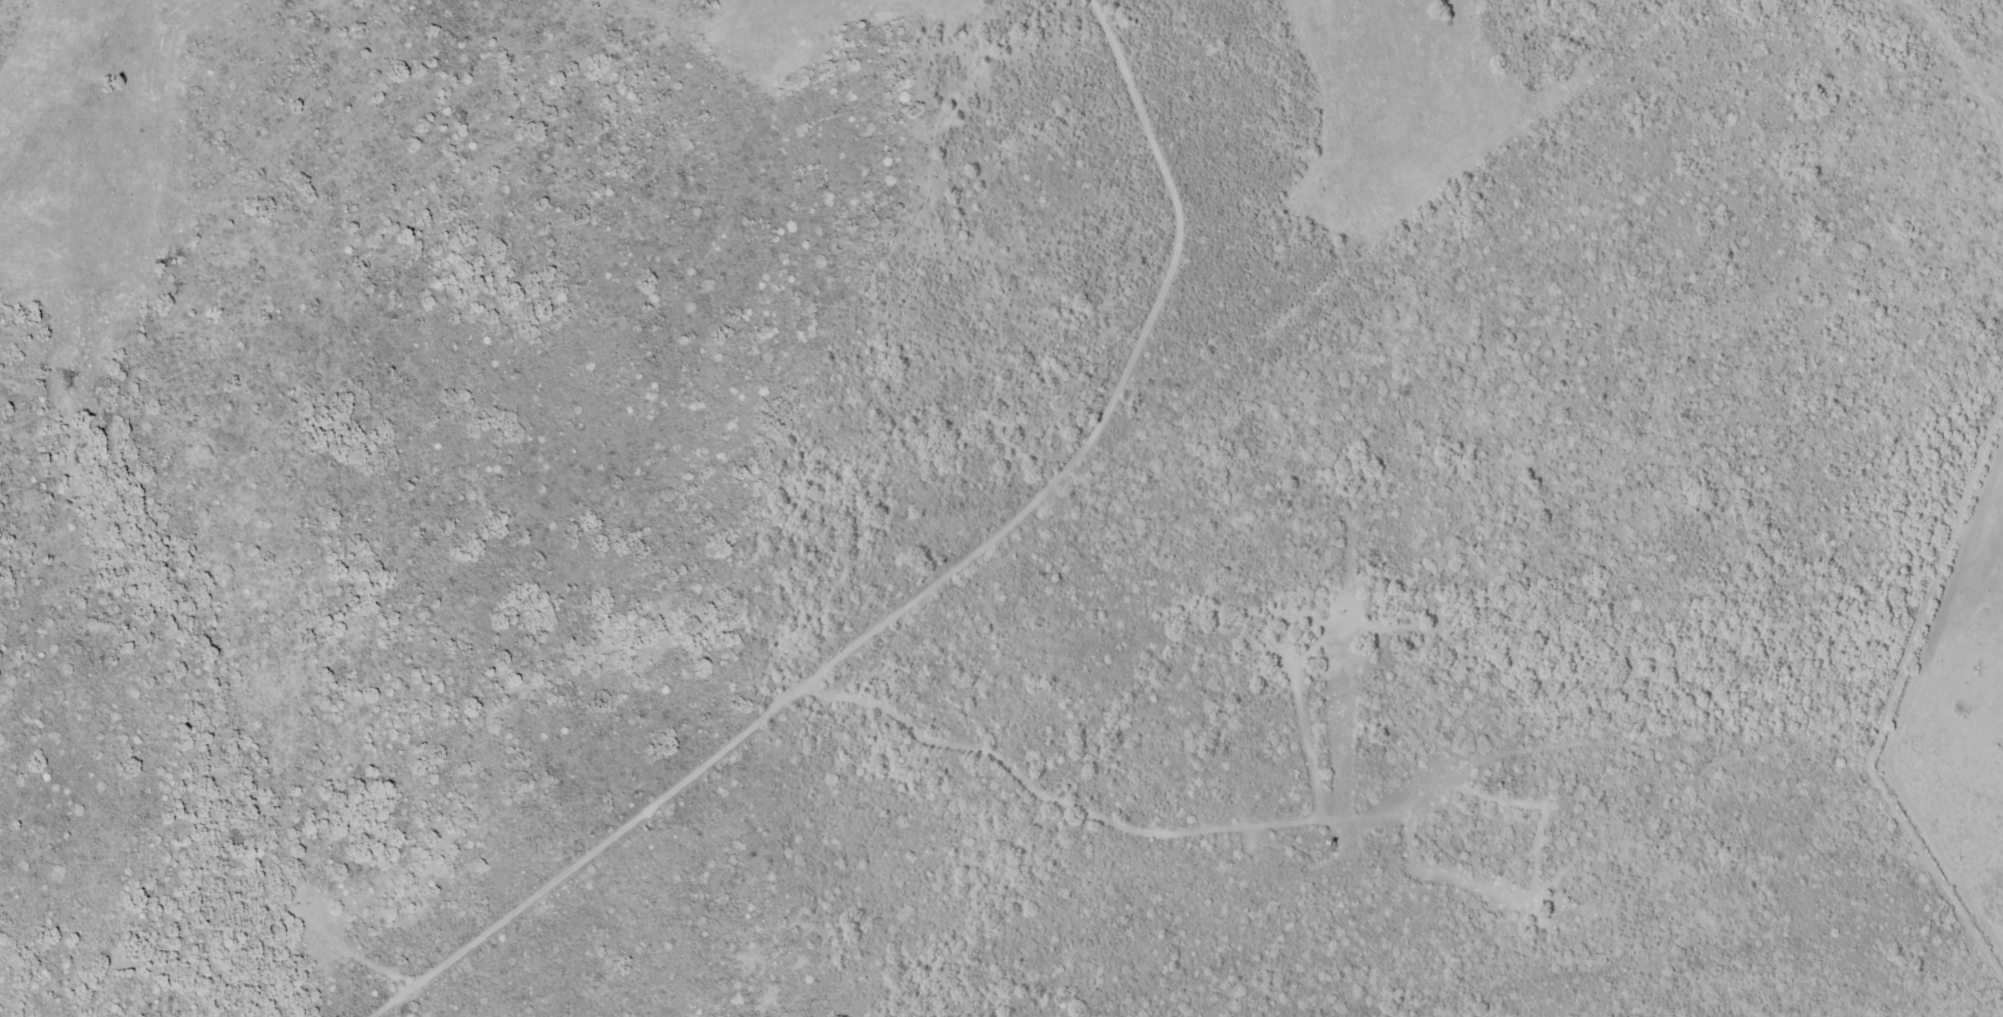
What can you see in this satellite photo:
road: (931, 592)

